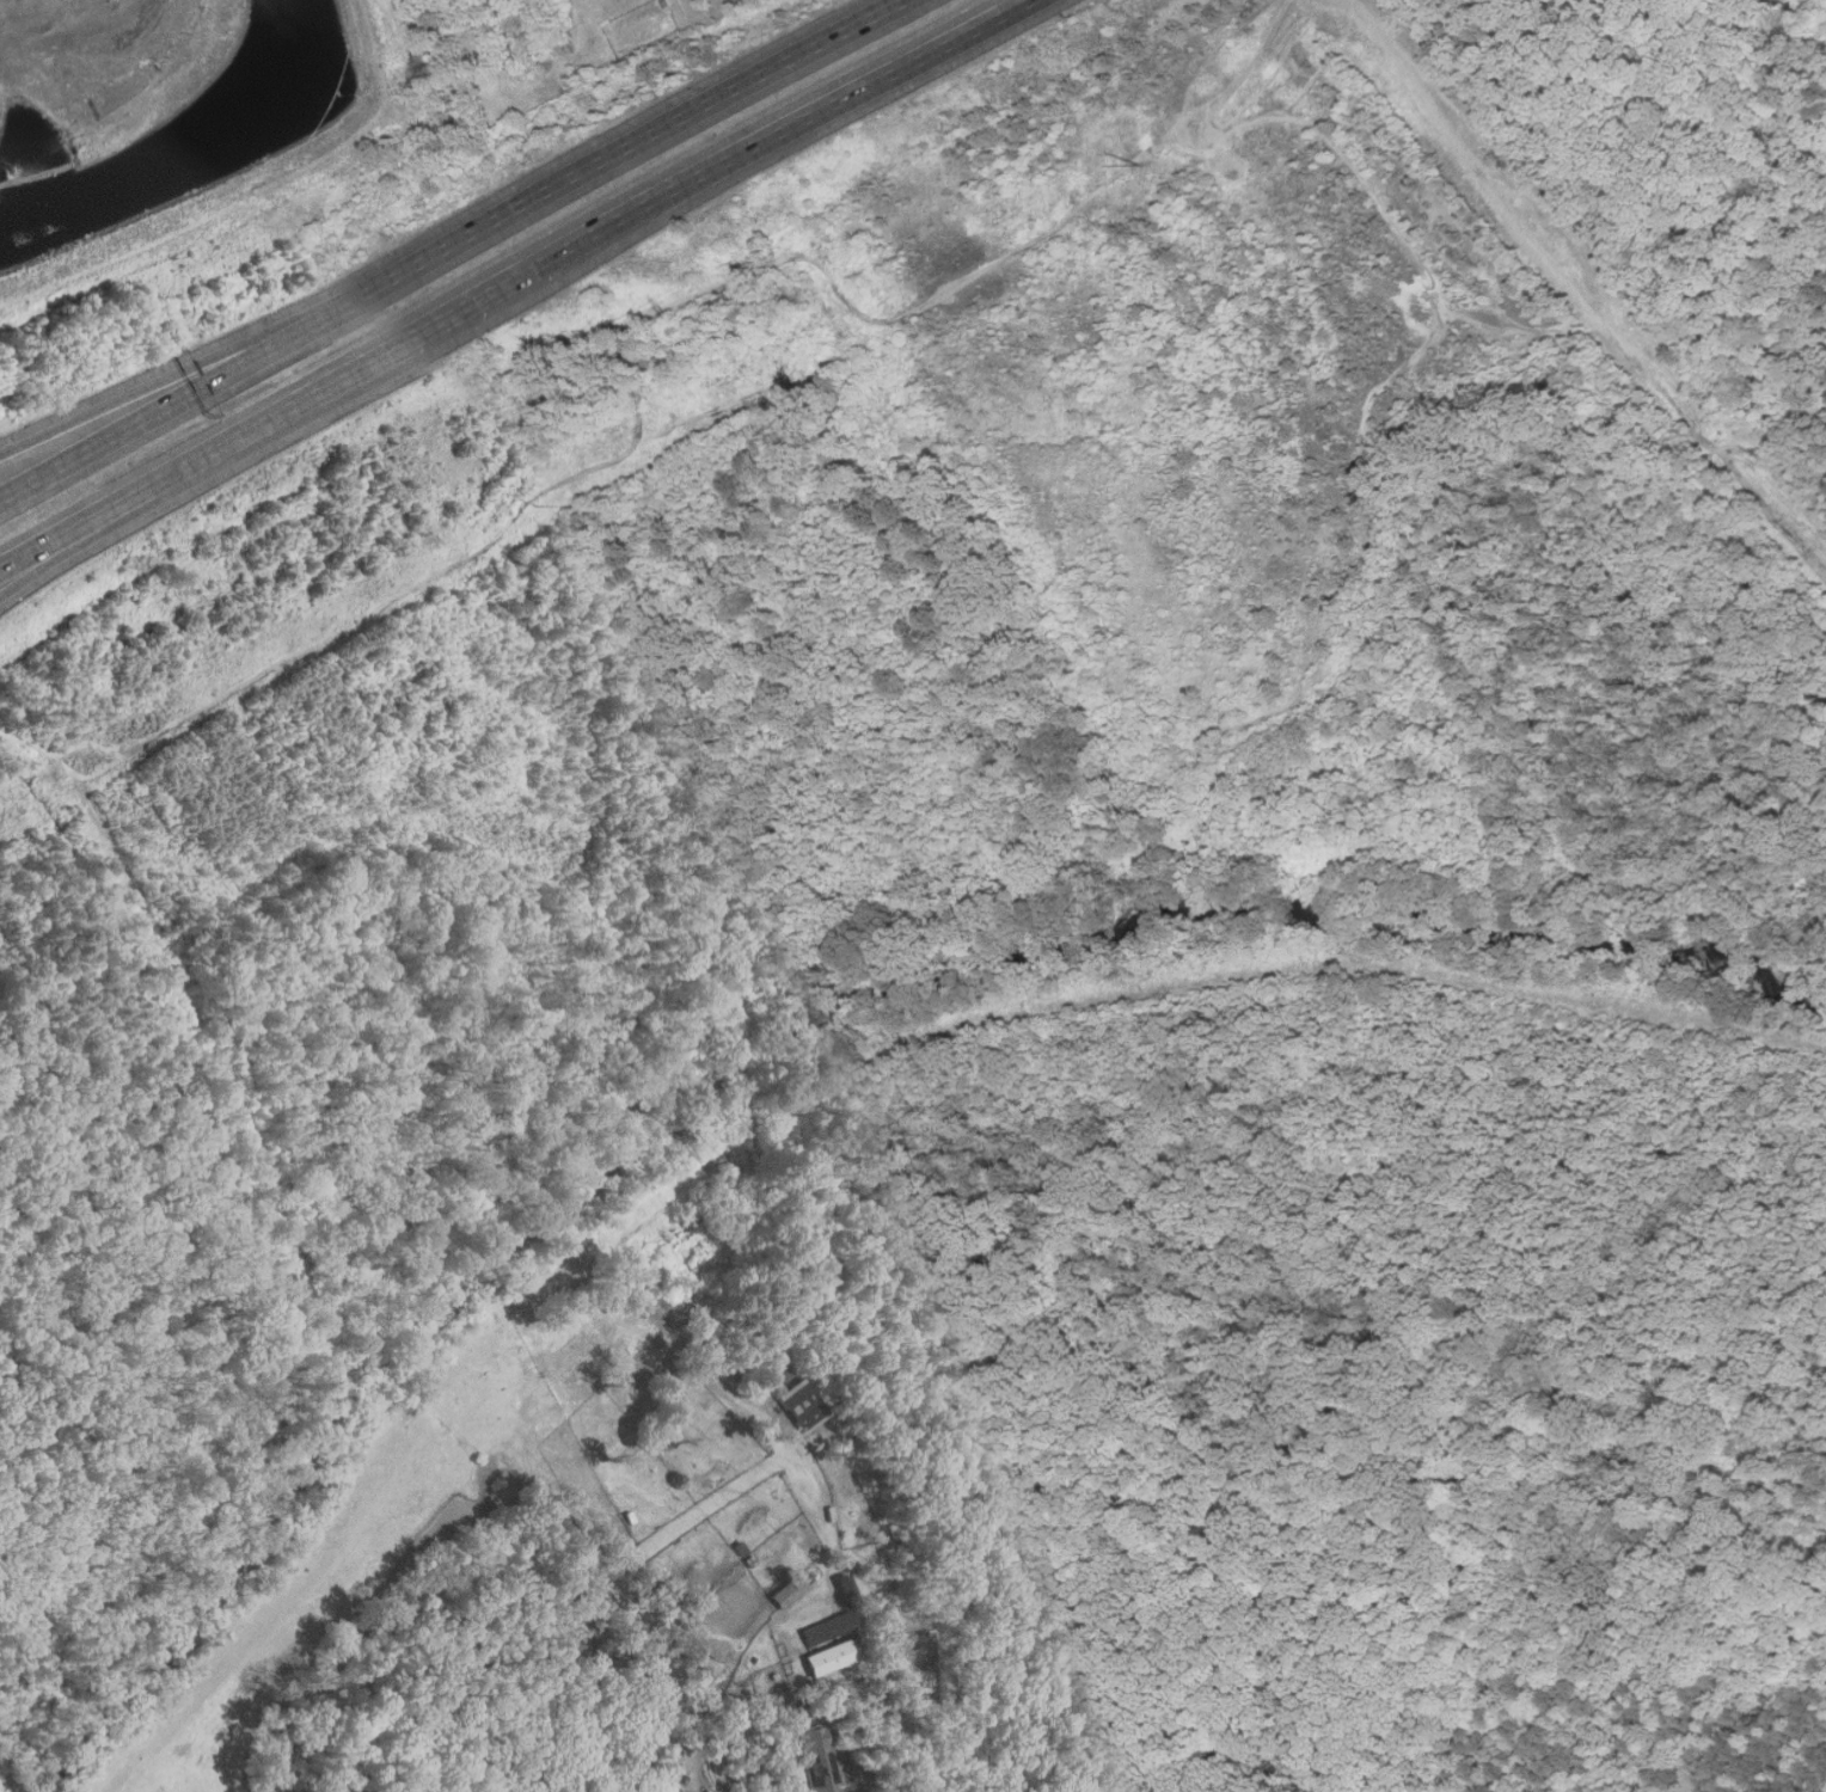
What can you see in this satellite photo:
road: (897, 75)
road: (629, 153)
road: (1577, 293)
road: (380, 357)
road: (171, 375)
road: (172, 401)
road: (136, 504)
building: (802, 1405)
building: (788, 1590)
building: (828, 1627)
building: (832, 1656)
building: (815, 1761)
road: (715, 1767)

